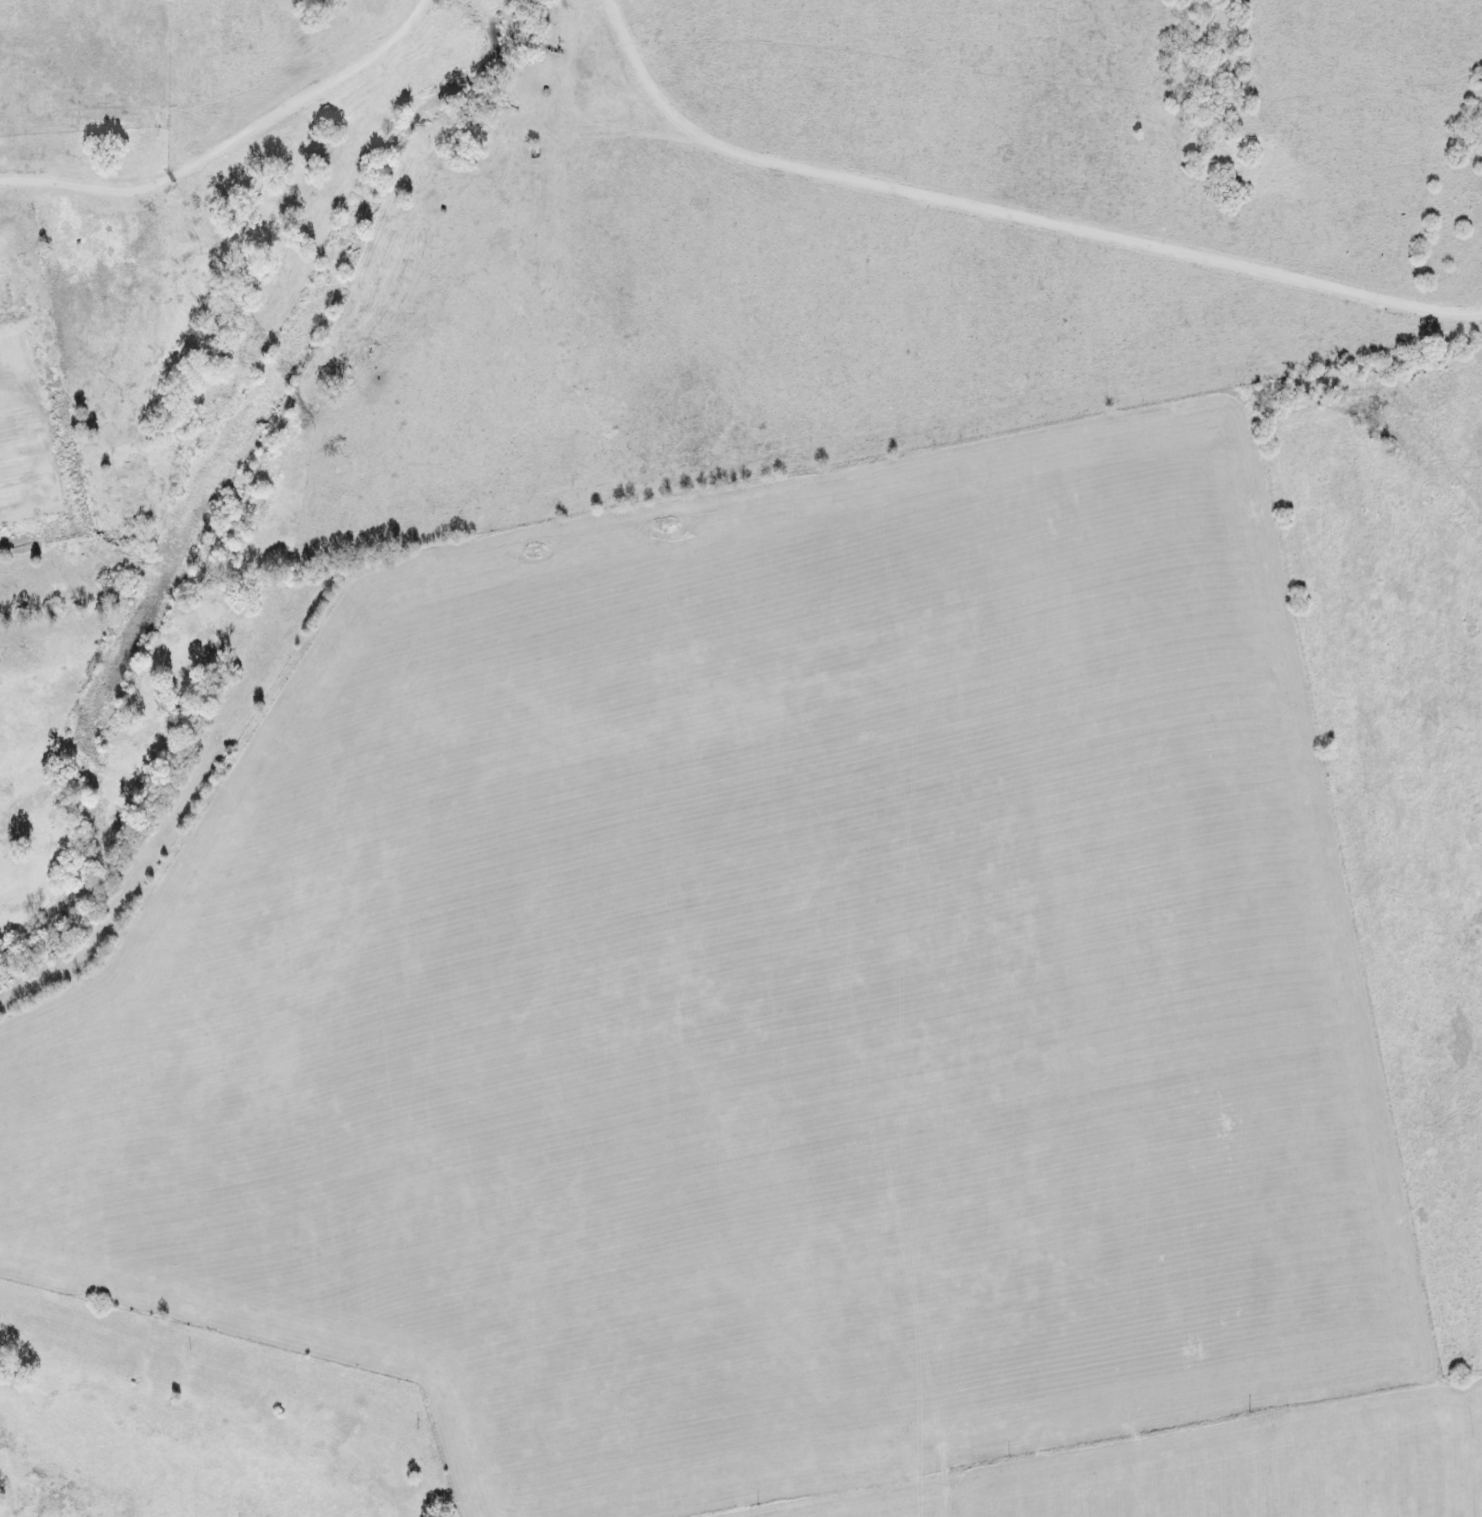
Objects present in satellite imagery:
road: (235, 146)
road: (1007, 220)

